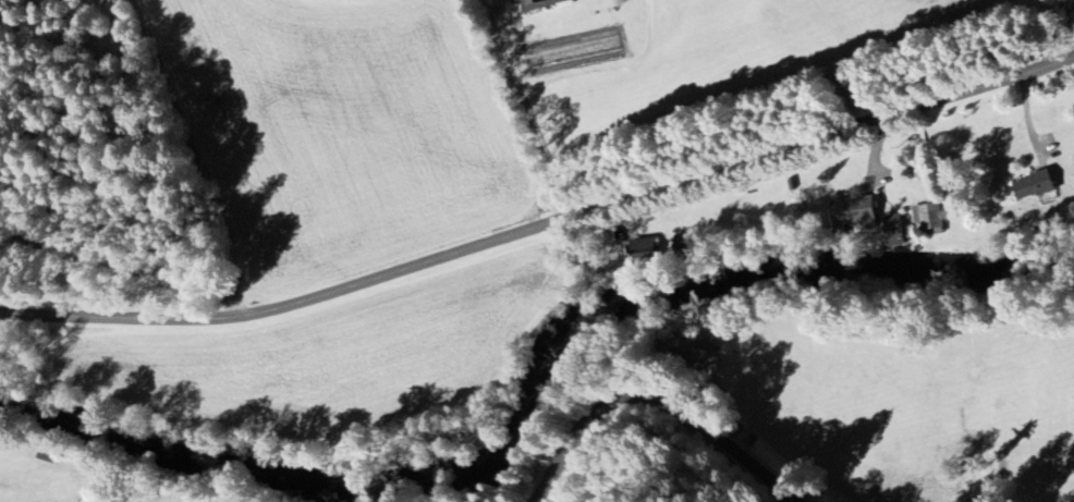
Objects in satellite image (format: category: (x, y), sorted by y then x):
building: (544, 4)
road: (530, 106)
road: (1024, 113)
road: (209, 150)
building: (1034, 187)
building: (854, 216)
building: (928, 218)
road: (542, 223)
building: (894, 232)
building: (644, 254)
river: (838, 285)
road: (664, 387)
river: (490, 444)
river: (163, 457)

